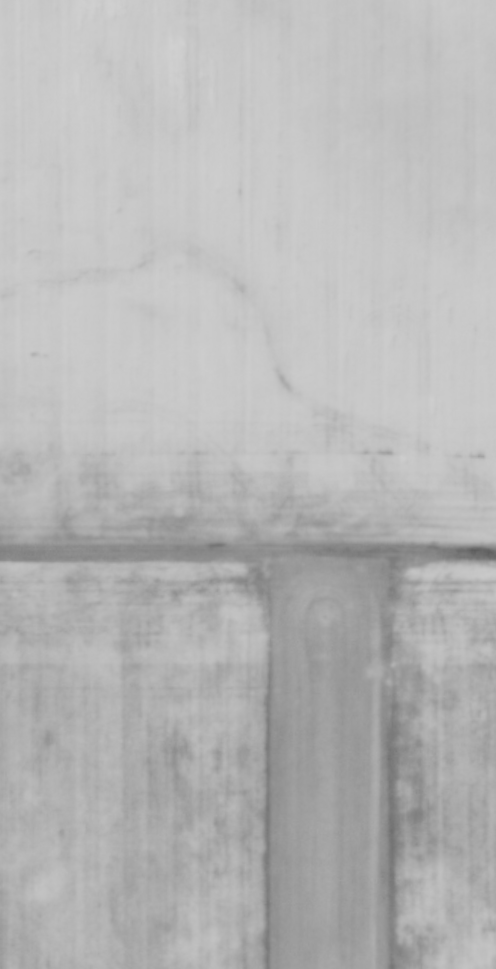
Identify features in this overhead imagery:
road: (248, 552)
airport runway: (331, 775)

